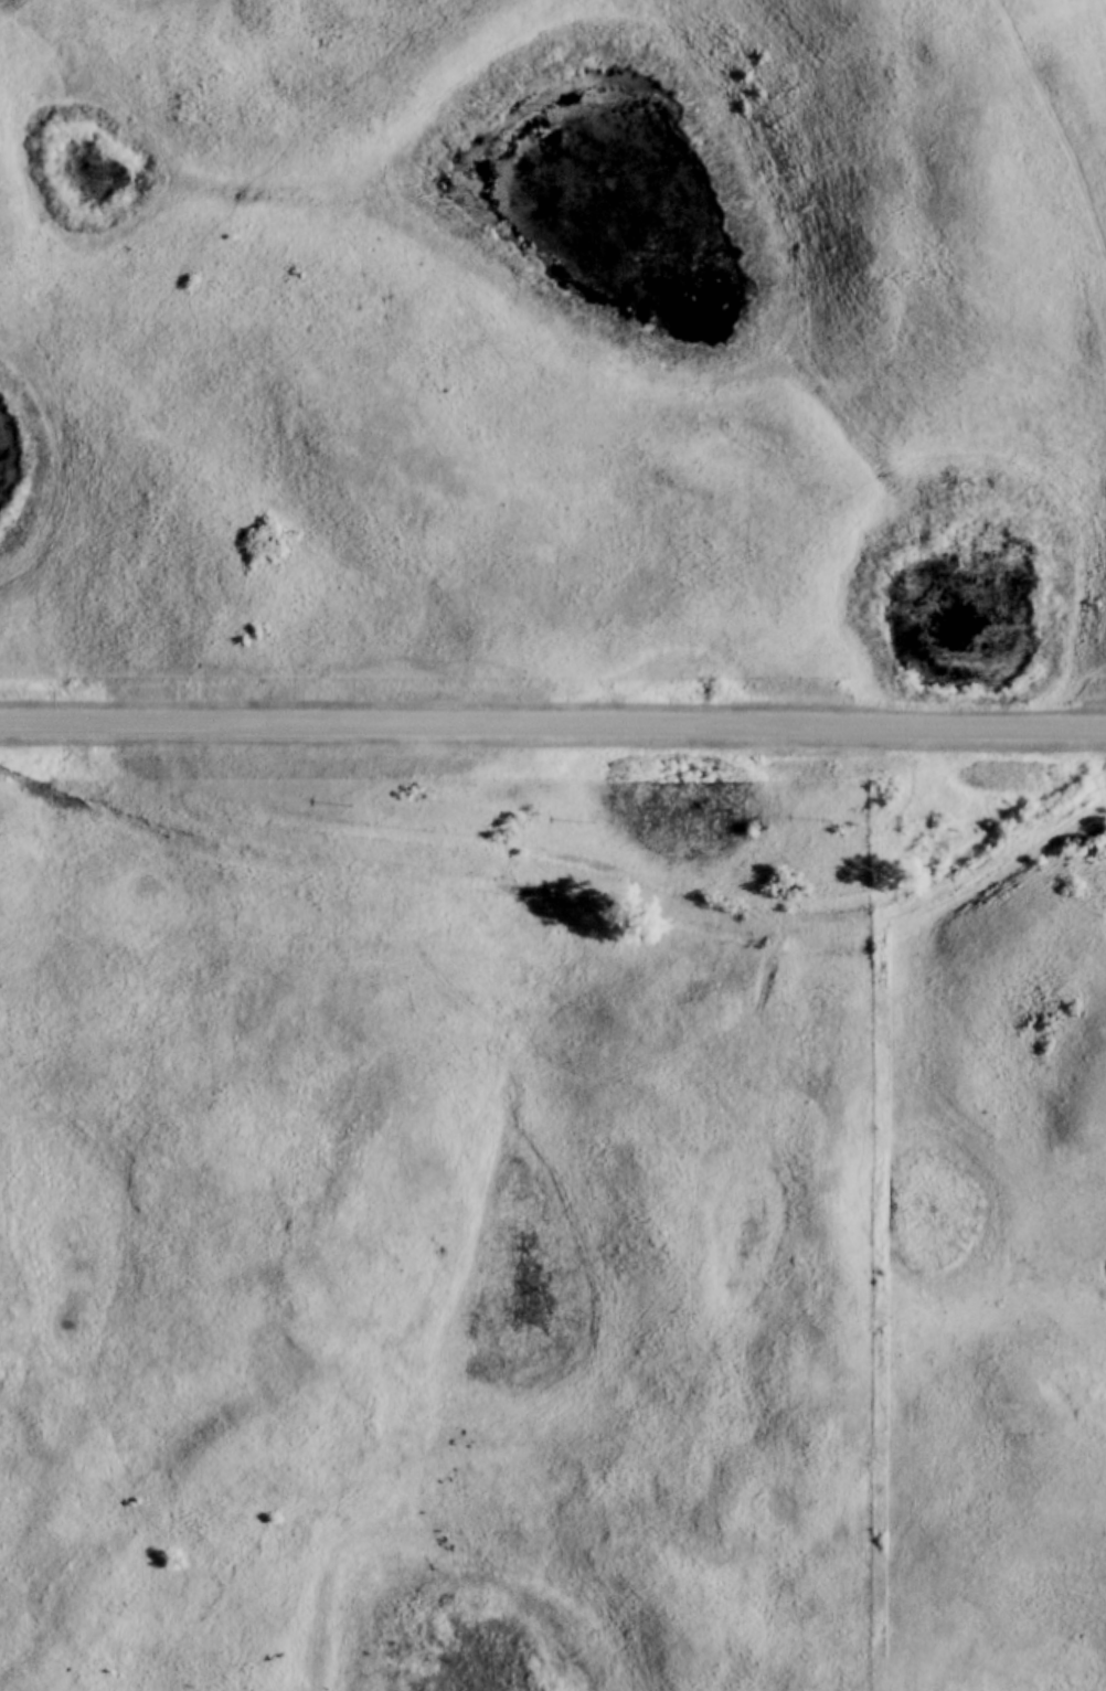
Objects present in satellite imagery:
road: (1057, 124)
road: (553, 722)

